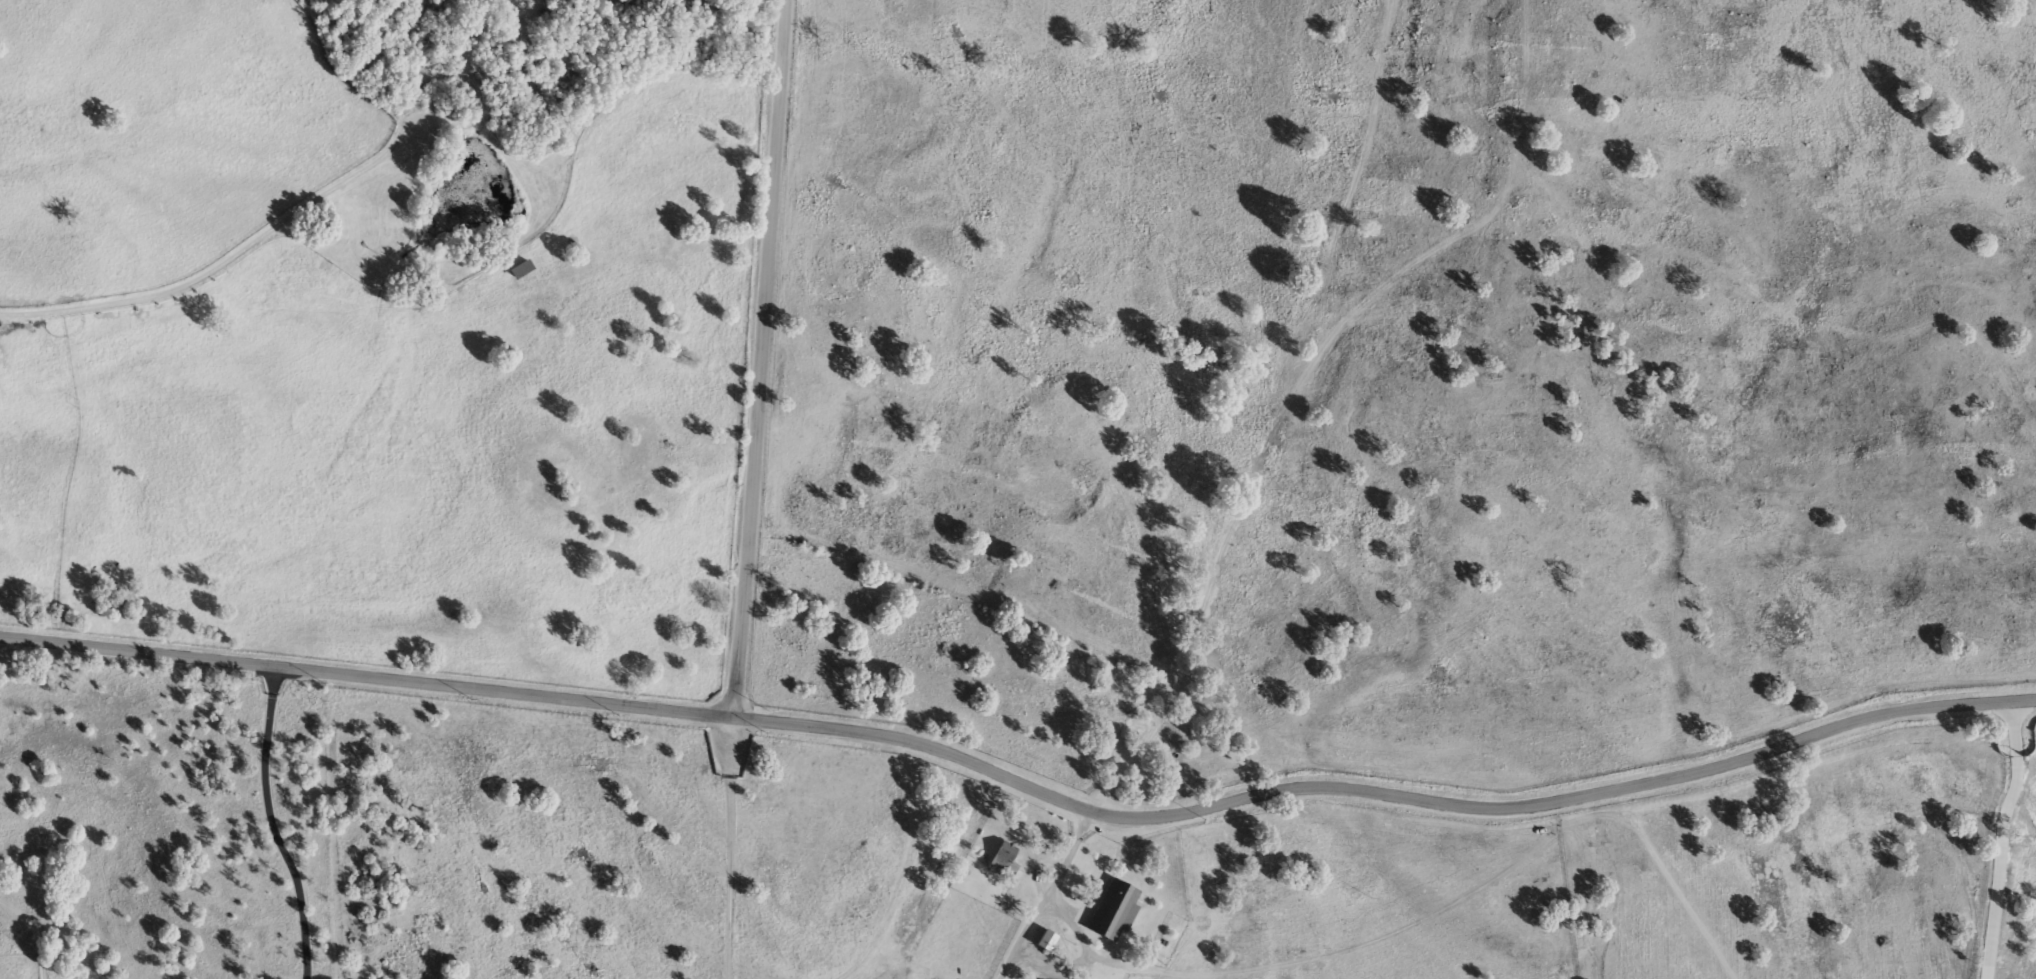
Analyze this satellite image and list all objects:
road: (432, 120)
road: (770, 200)
building: (520, 270)
road: (204, 274)
road: (1246, 511)
road: (745, 560)
road: (139, 653)
building: (1145, 686)
road: (1156, 816)
road: (272, 825)
road: (2003, 839)
road: (729, 848)
building: (1003, 860)
road: (1673, 885)
building: (1112, 912)
road: (23, 916)
building: (1045, 942)
road: (1088, 951)
road: (42, 960)

